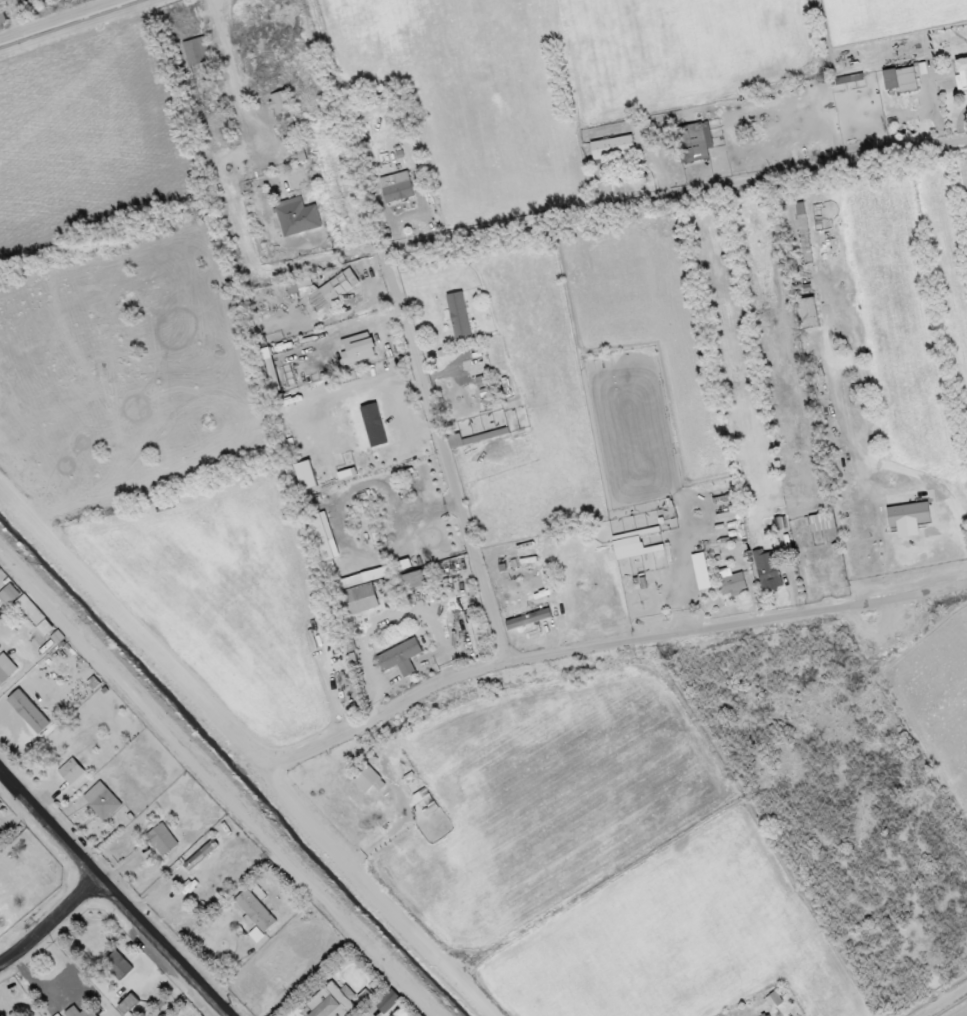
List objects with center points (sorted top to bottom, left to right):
building: (2, 20)
building: (197, 51)
building: (961, 74)
building: (901, 80)
building: (281, 102)
building: (643, 132)
building: (694, 142)
building: (613, 149)
building: (297, 155)
building: (397, 188)
building: (297, 217)
road: (452, 226)
building: (328, 289)
building: (809, 313)
building: (459, 316)
road: (357, 324)
building: (358, 349)
building: (483, 382)
building: (470, 439)
building: (306, 475)
building: (908, 518)
building: (822, 522)
building: (322, 541)
building: (701, 571)
building: (768, 573)
building: (370, 576)
building: (731, 581)
building: (405, 583)
building: (9, 595)
building: (357, 600)
road: (144, 608)
building: (36, 617)
building: (528, 619)
road: (608, 643)
building: (401, 658)
building: (6, 669)
building: (29, 712)
building: (71, 771)
building: (369, 781)
building: (102, 801)
building: (162, 840)
building: (201, 855)
road: (381, 890)
road: (112, 895)
building: (255, 912)
road: (49, 924)
building: (257, 935)
building: (118, 966)
building: (388, 1001)
building: (331, 1002)
building: (128, 1004)
building: (73, 1010)

